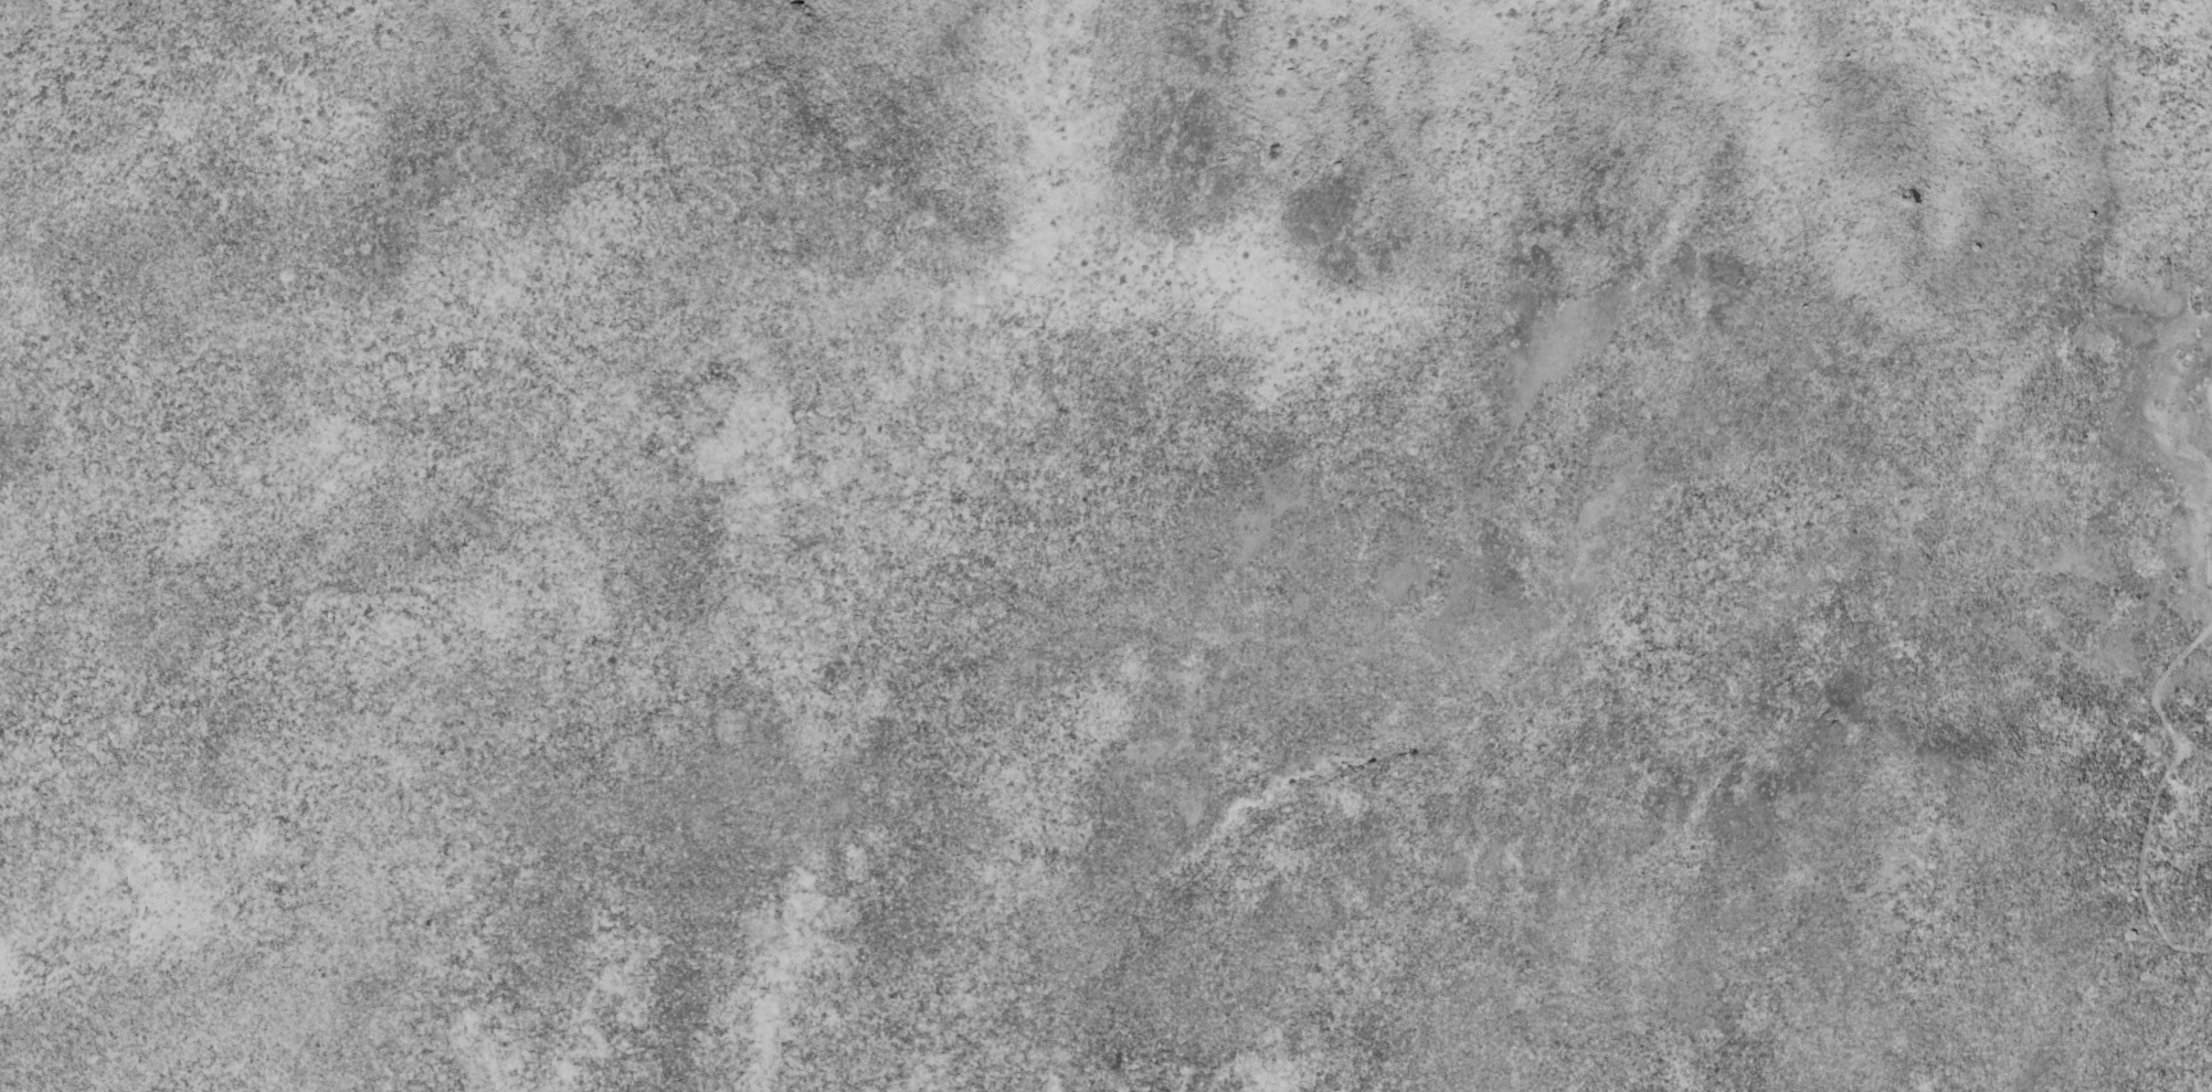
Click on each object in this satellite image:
park: (1105, 545)
road: (2159, 791)

